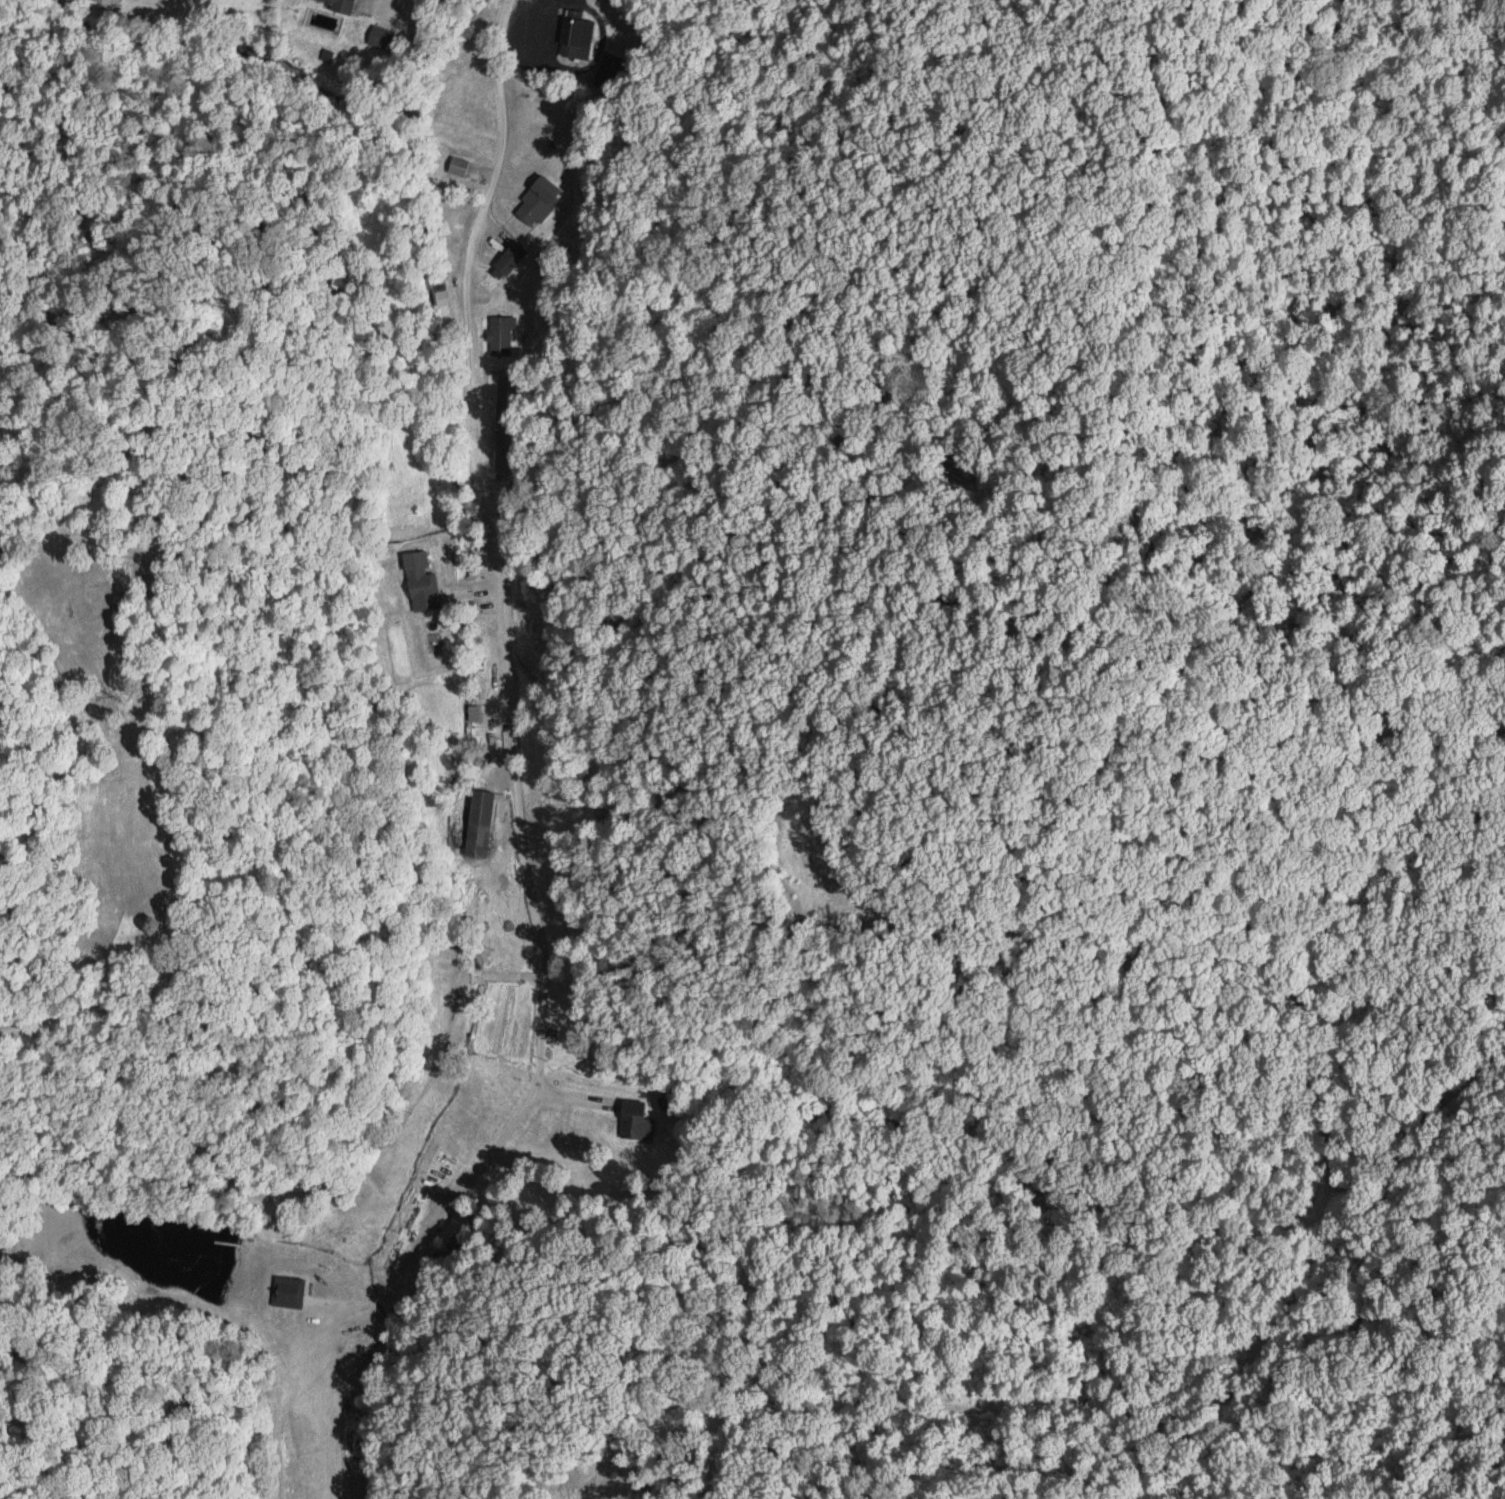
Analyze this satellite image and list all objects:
building: (111, 2)
building: (342, 4)
road: (385, 8)
building: (383, 38)
building: (575, 38)
building: (462, 166)
building: (536, 201)
building: (509, 258)
building: (503, 336)
building: (424, 574)
road: (517, 822)
building: (483, 823)
building: (631, 1120)

